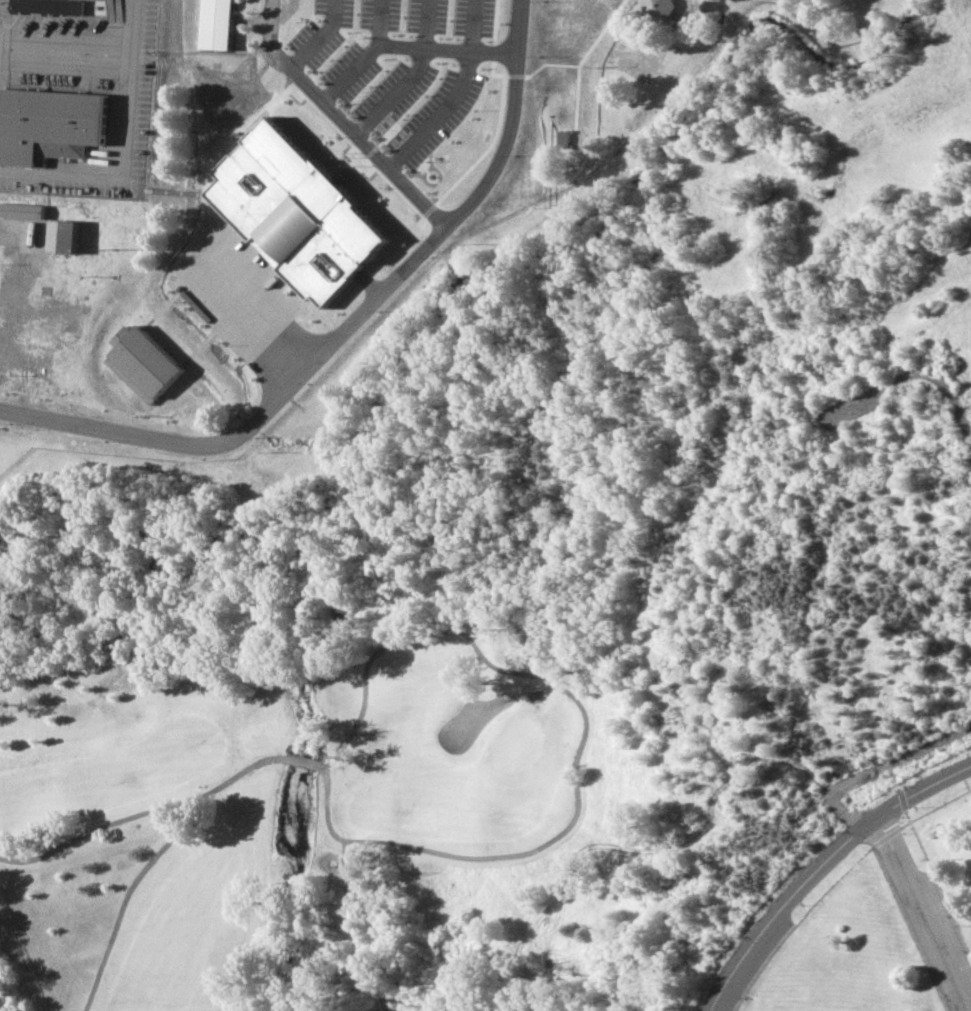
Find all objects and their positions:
building: (47, 6)
building: (657, 10)
building: (213, 24)
road: (135, 27)
road: (67, 52)
road: (340, 122)
building: (50, 124)
road: (506, 147)
road: (125, 177)
building: (21, 209)
building: (294, 213)
road: (15, 223)
building: (62, 236)
road: (324, 343)
building: (140, 363)
road: (169, 441)
road: (877, 766)
road: (918, 814)
park: (304, 825)
road: (857, 857)
road: (818, 863)
road: (925, 865)
road: (917, 913)
parking lot: (924, 918)

